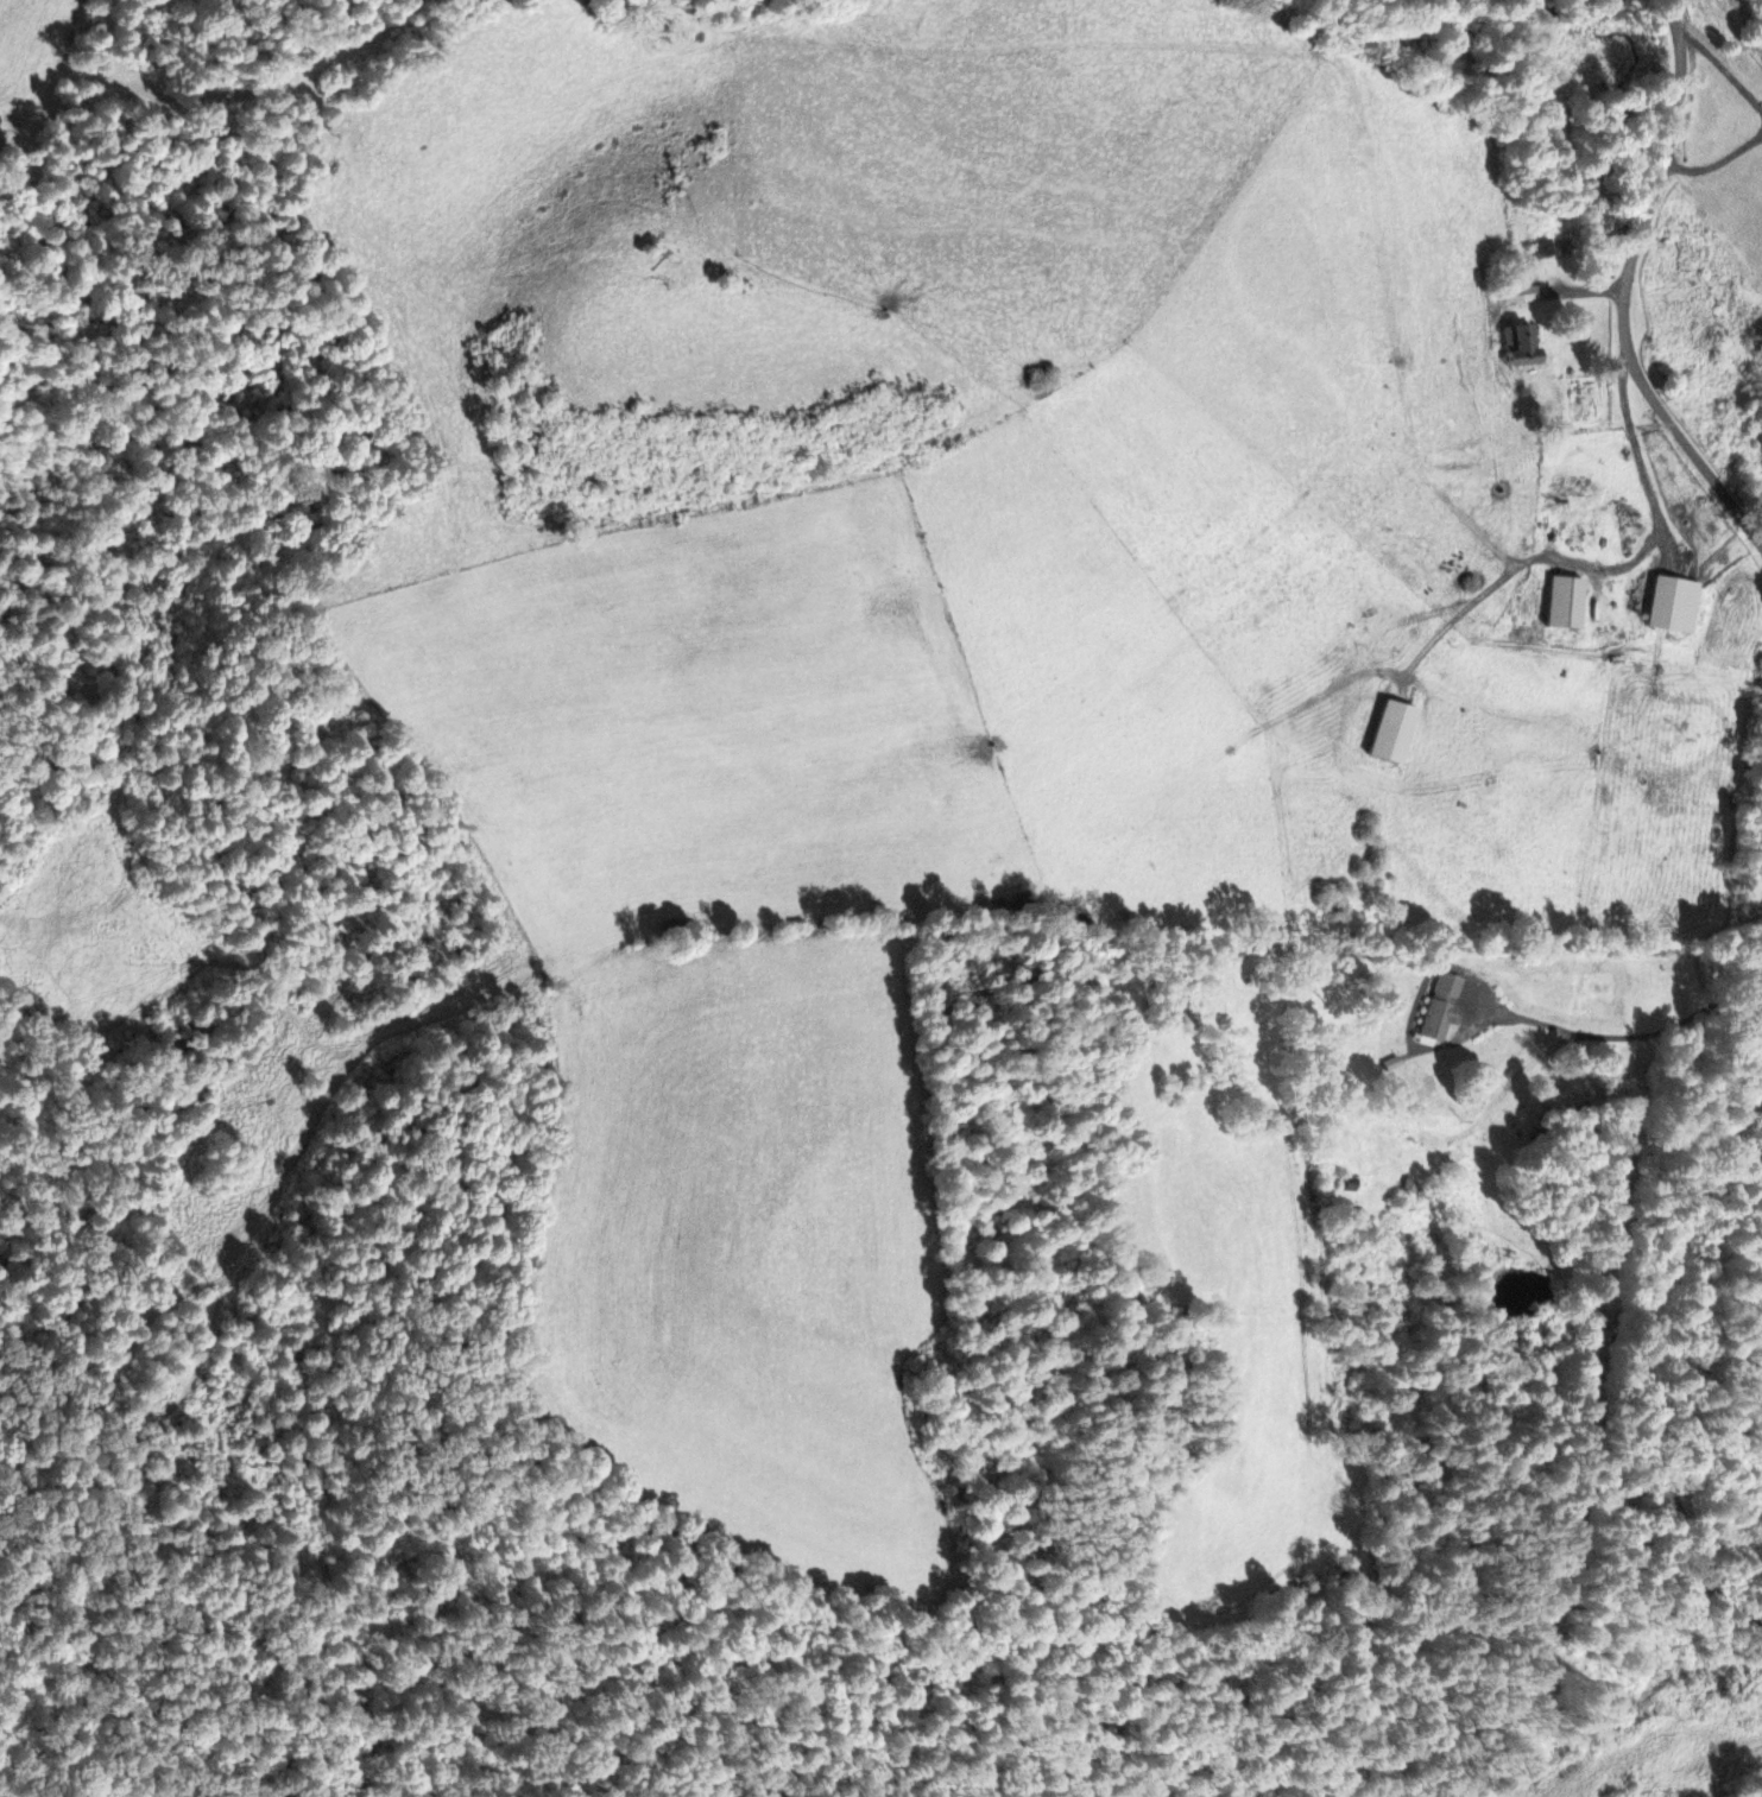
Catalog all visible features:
building: (1541, 249)
road: (1625, 289)
building: (1520, 296)
building: (1520, 346)
building: (1672, 606)
building: (1573, 631)
building: (1440, 1010)
road: (1575, 1051)
road: (1629, 1346)

